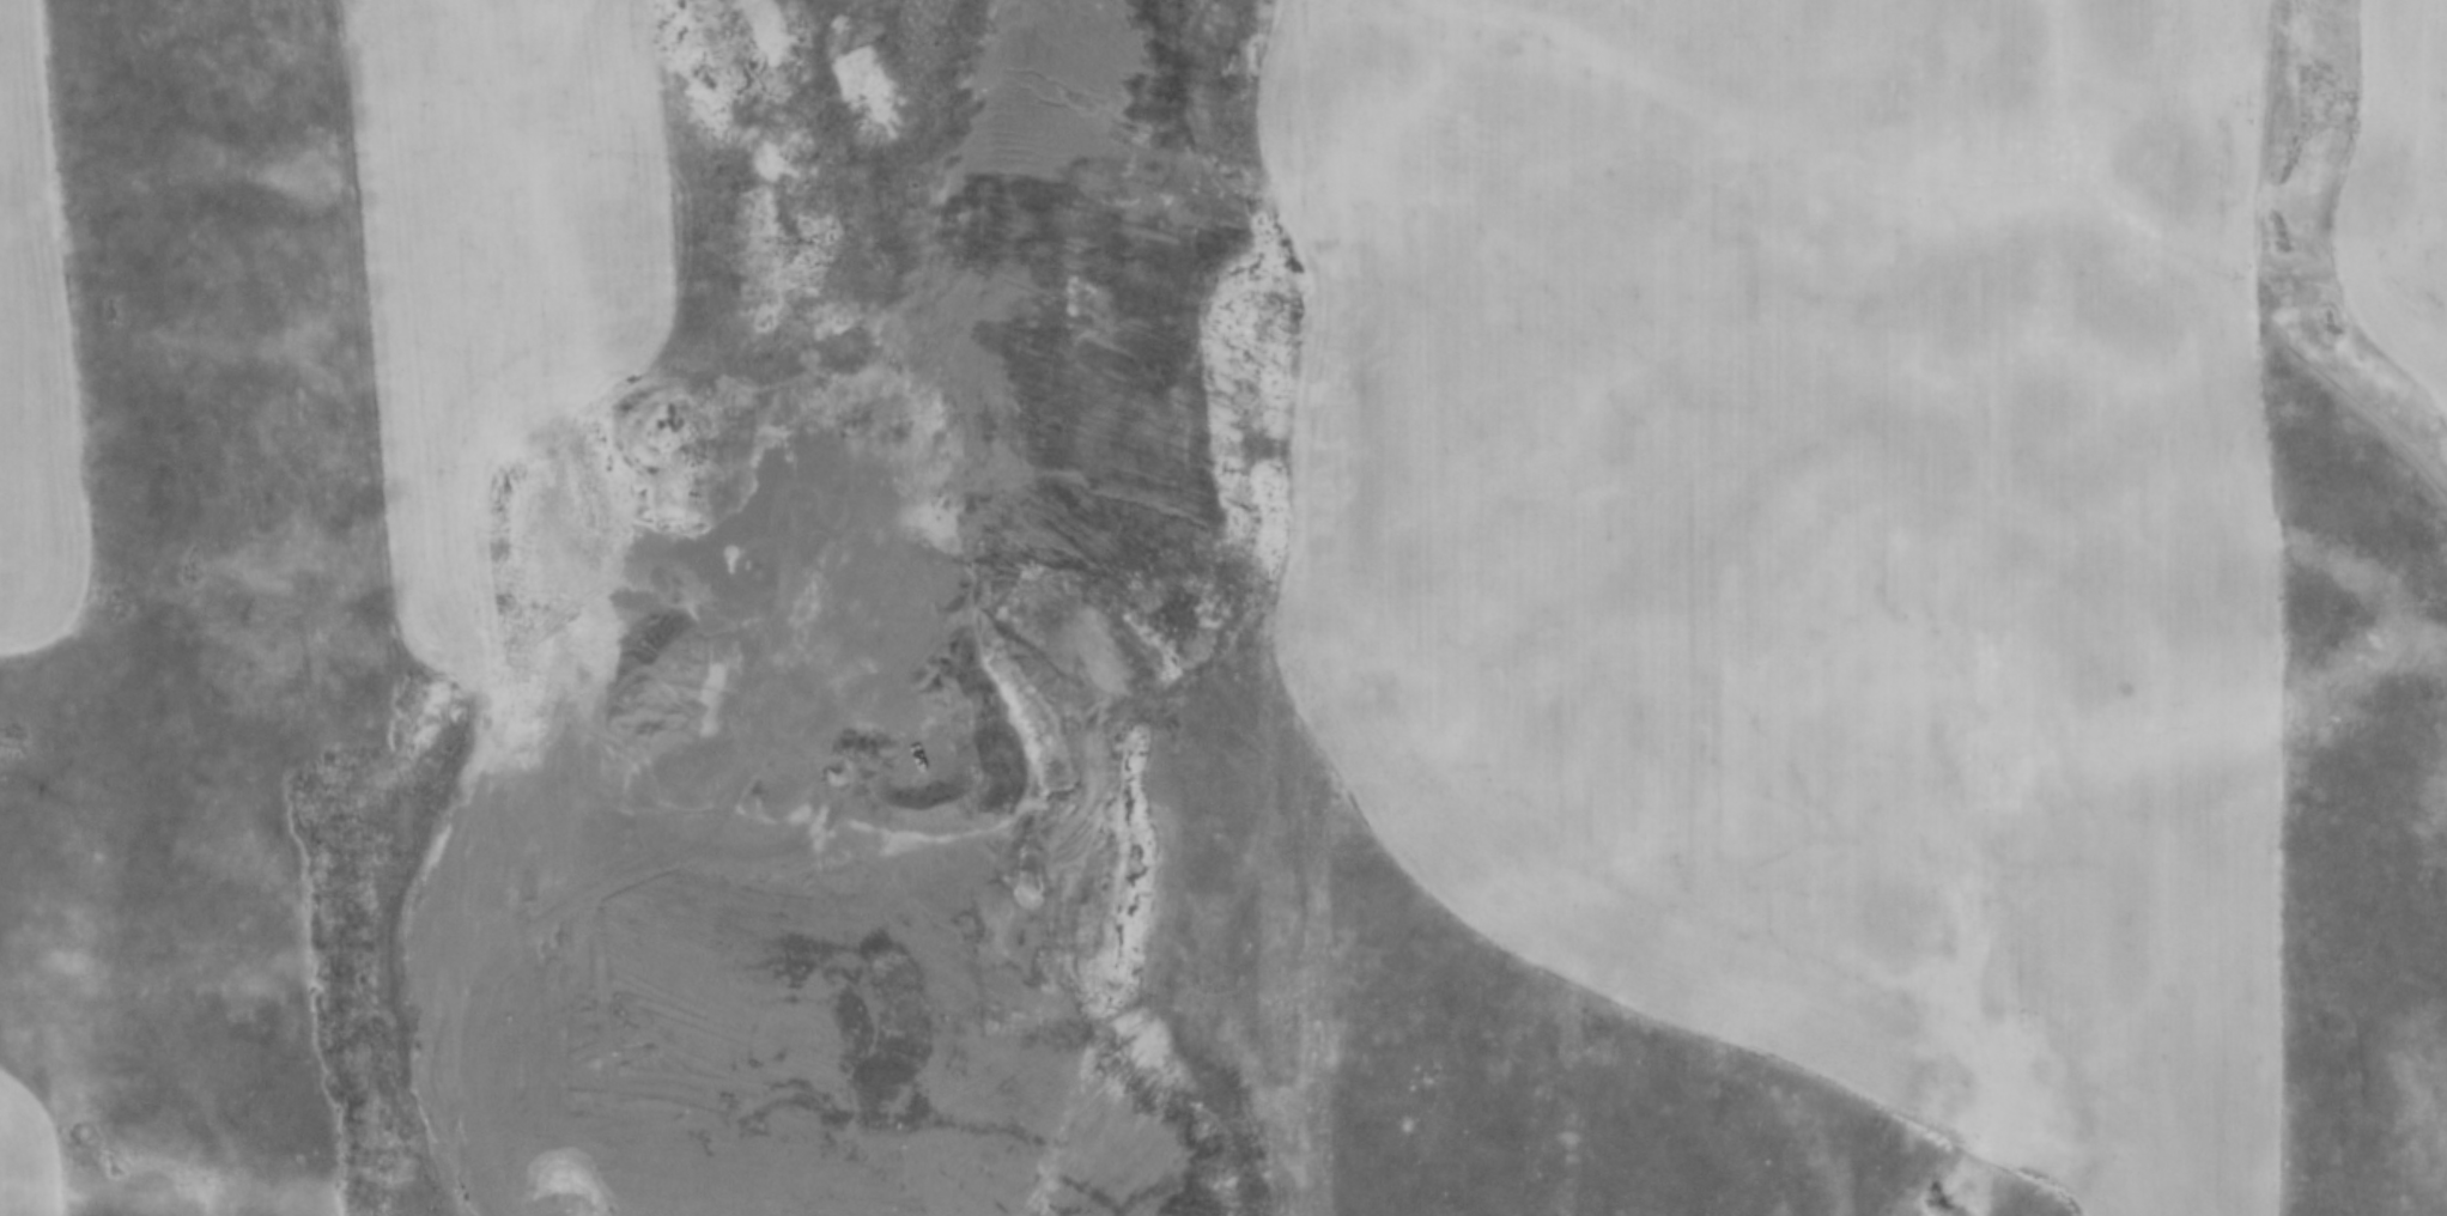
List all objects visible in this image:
road: (2249, 292)

